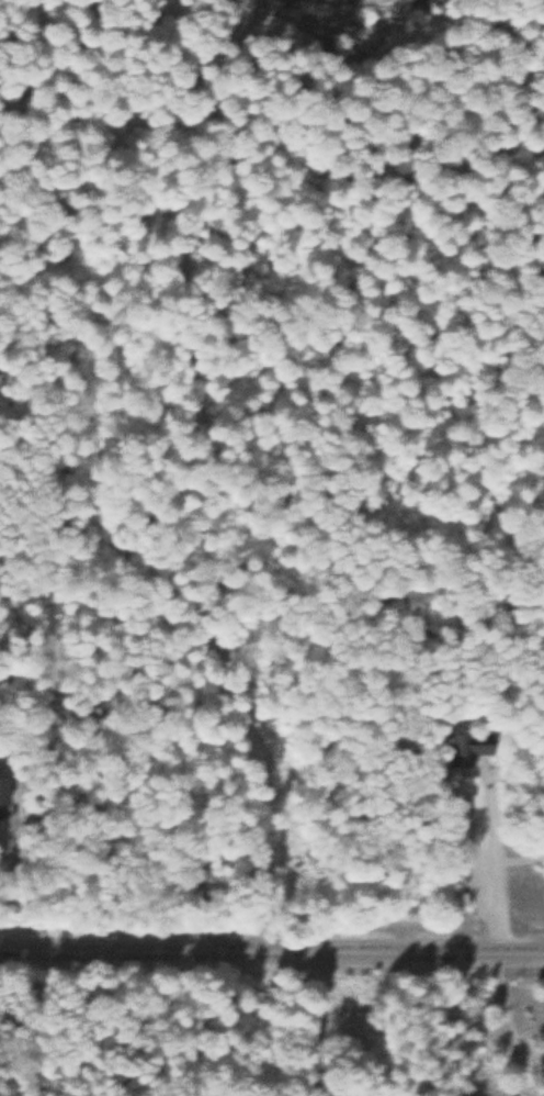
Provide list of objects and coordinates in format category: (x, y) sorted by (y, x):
building: (3, 790)
road: (494, 842)
road: (9, 881)
road: (271, 947)

